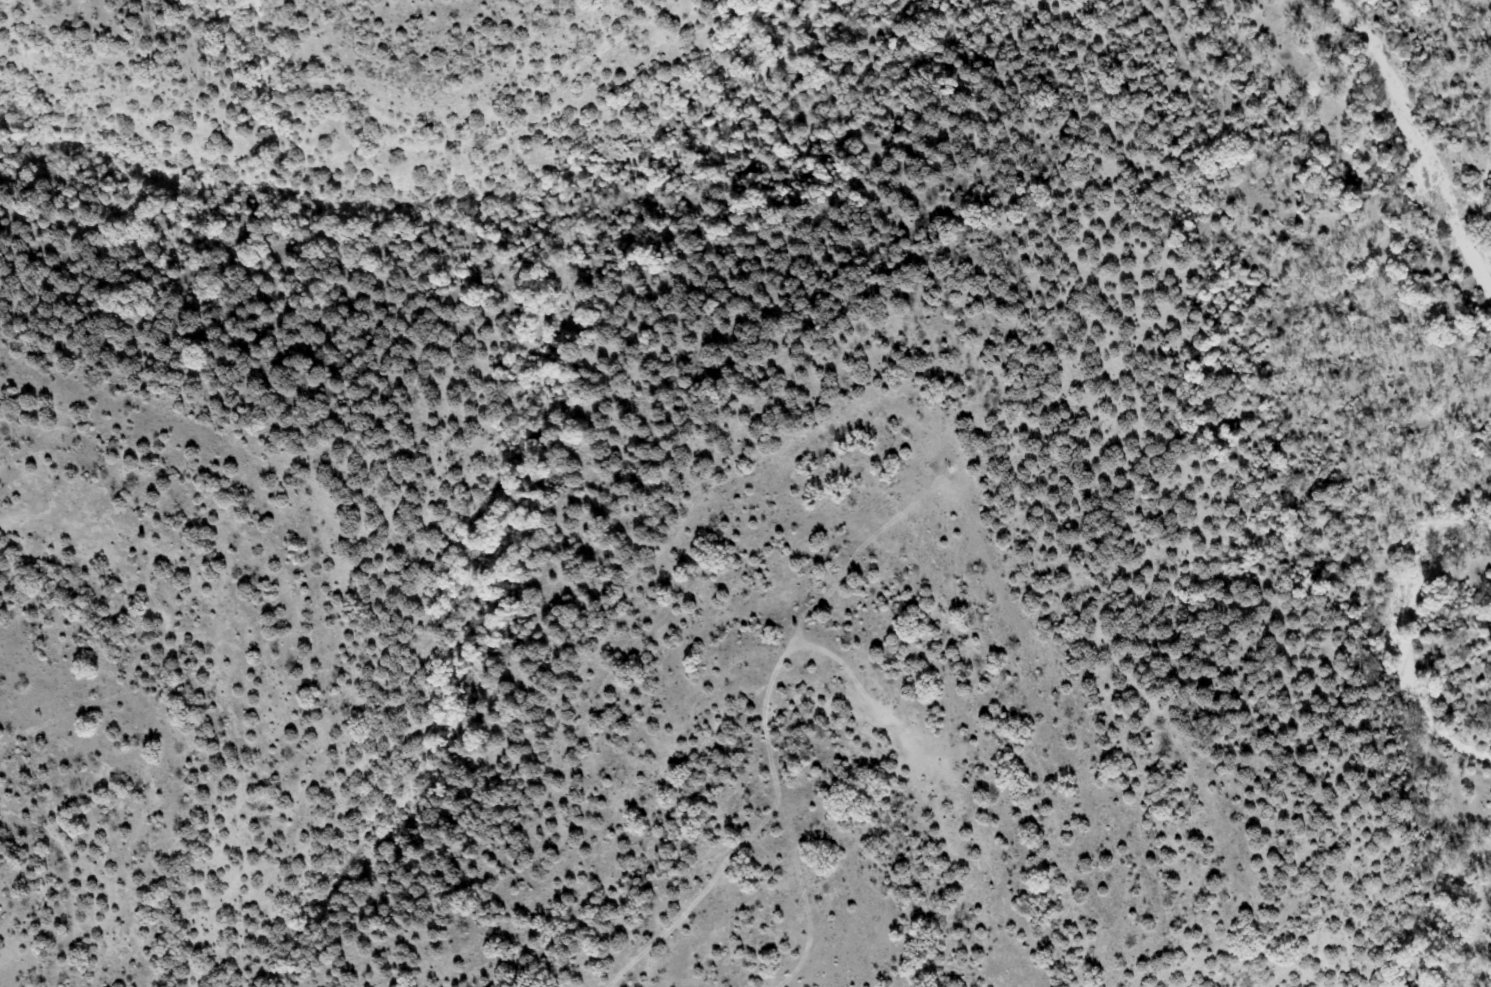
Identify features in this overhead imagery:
road: (1467, 172)

